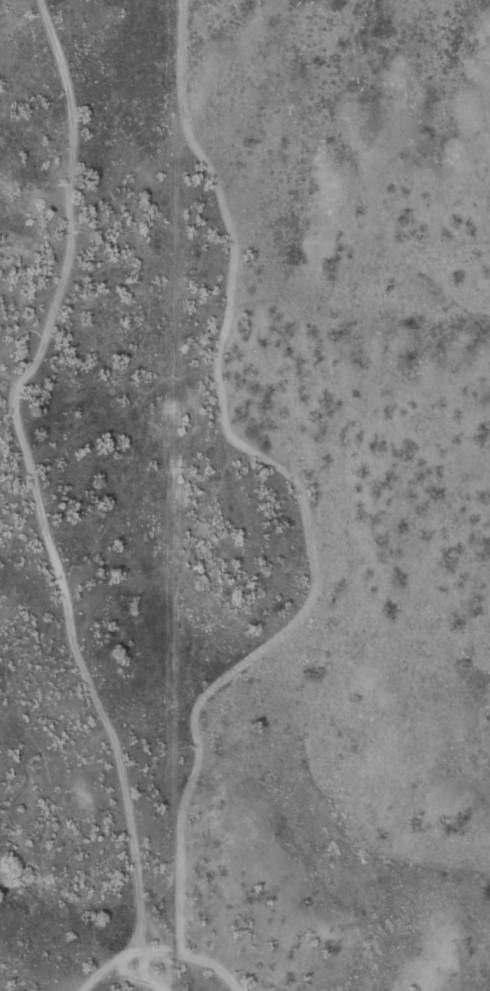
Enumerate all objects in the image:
road: (12, 509)

